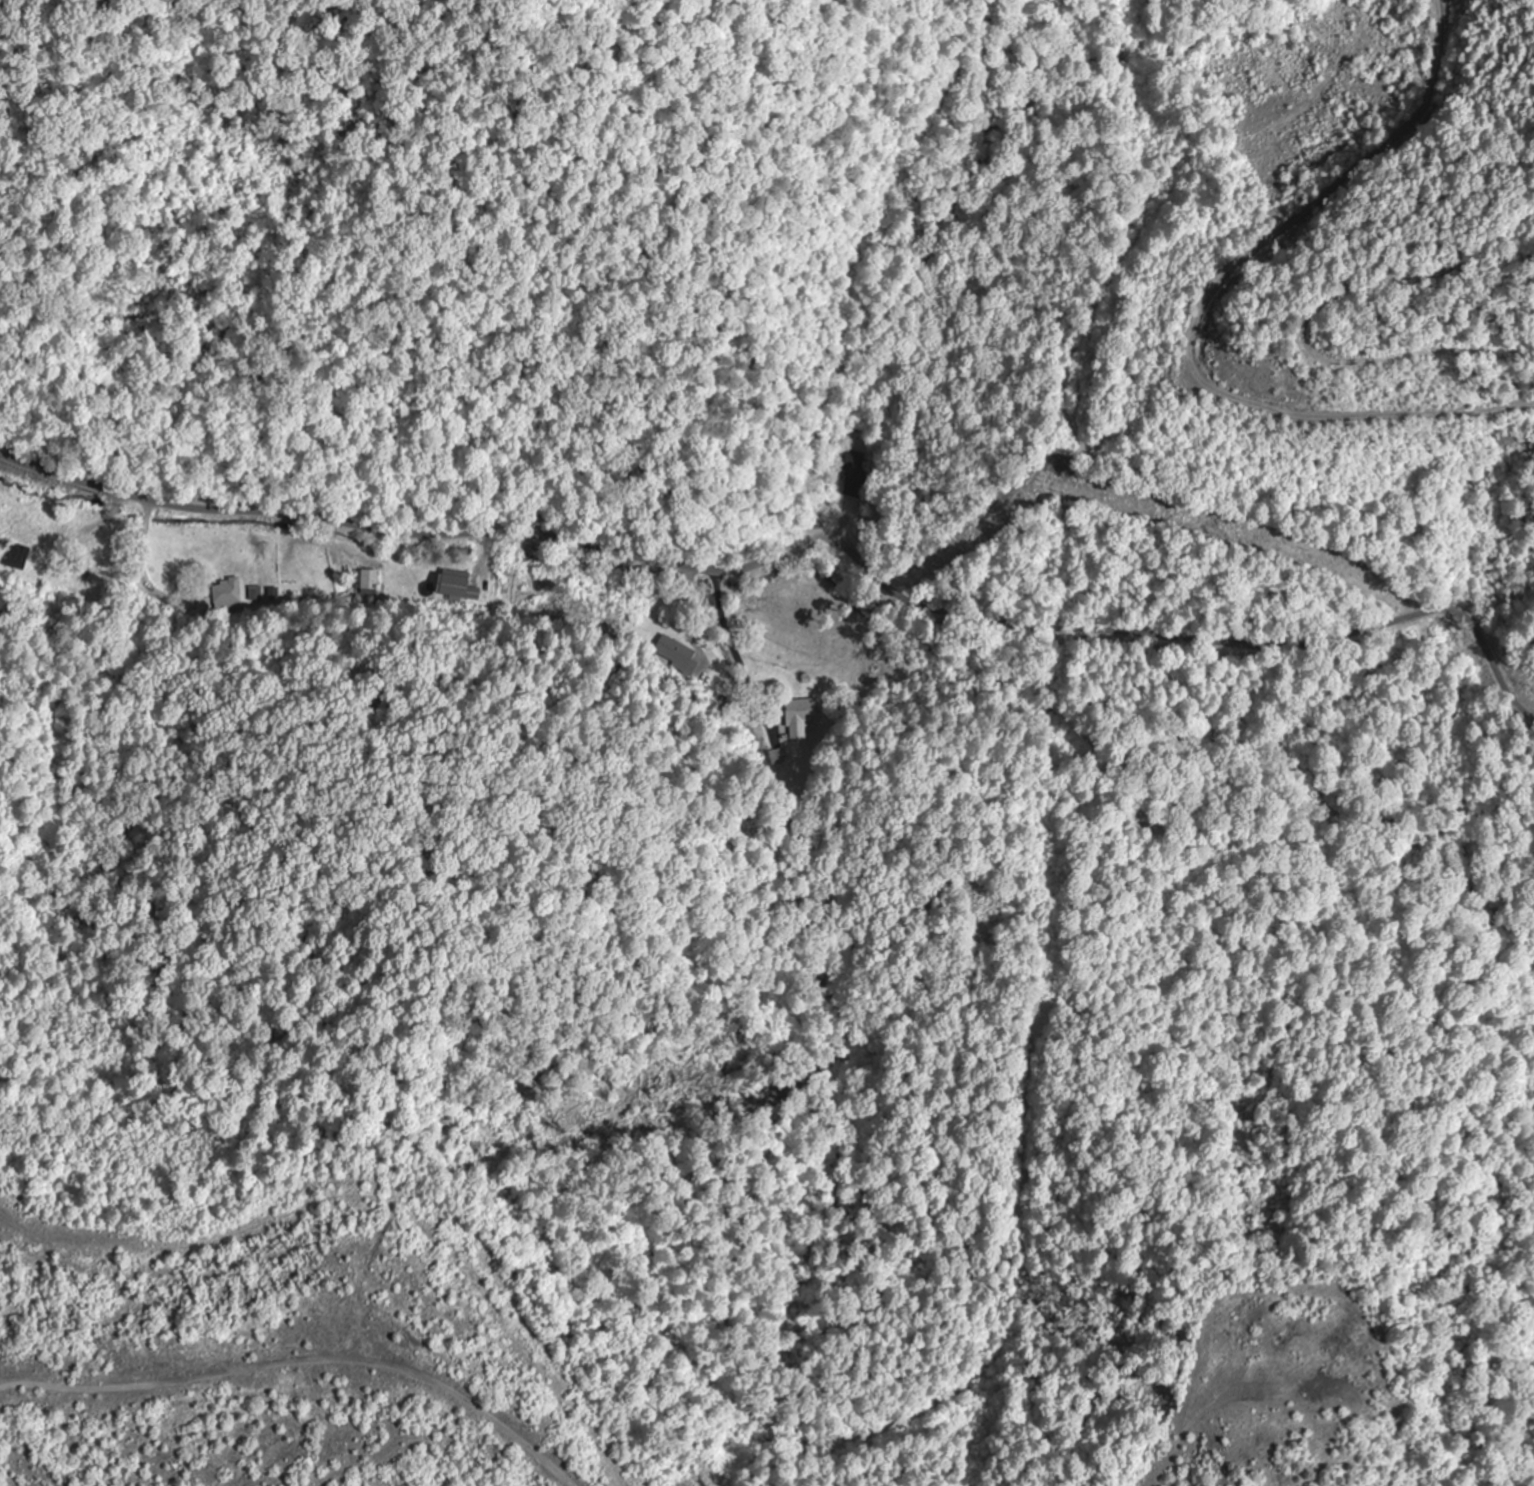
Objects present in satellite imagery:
building: (856, 474)
road: (800, 540)
building: (12, 561)
building: (457, 588)
building: (255, 594)
building: (676, 653)
building: (801, 717)
road: (940, 1213)
building: (357, 1317)
road: (211, 1343)

